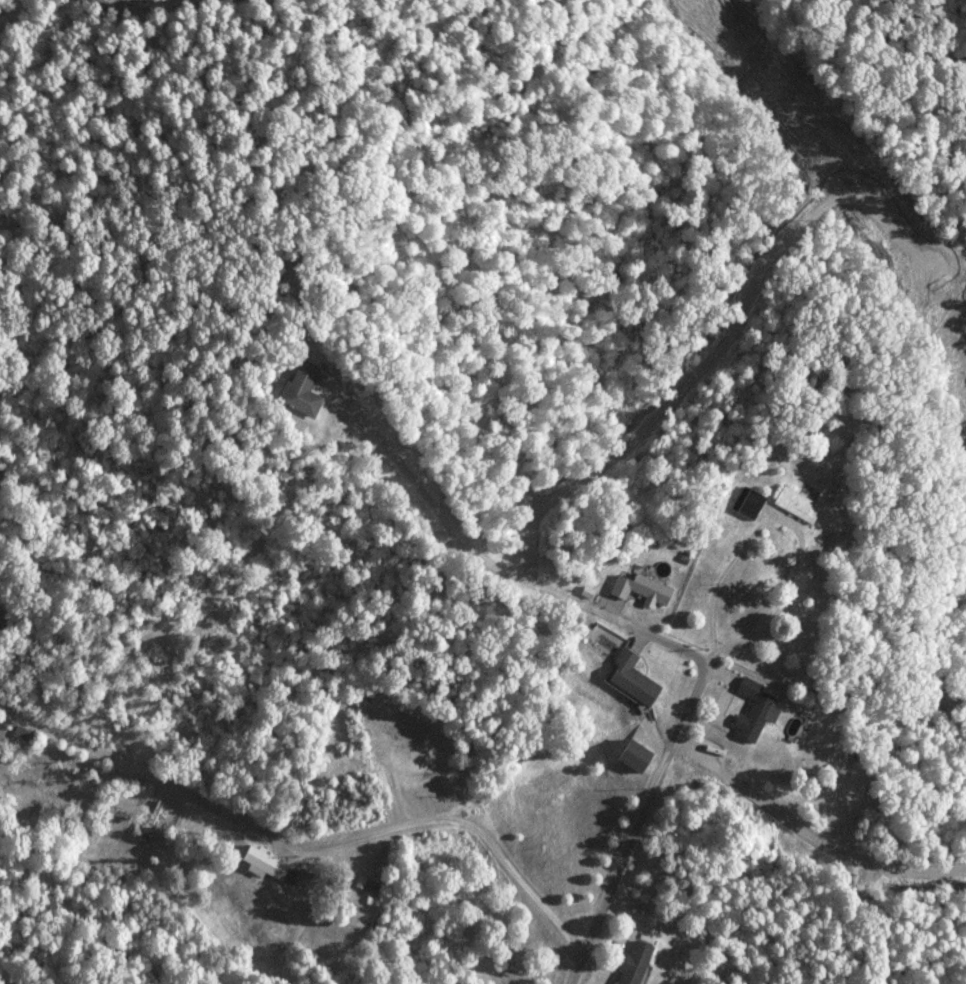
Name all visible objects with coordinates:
building: (303, 377)
building: (643, 588)
building: (1, 627)
road: (650, 635)
building: (635, 679)
building: (757, 710)
building: (402, 737)
road: (809, 835)
road: (308, 841)
building: (266, 864)
building: (637, 963)

